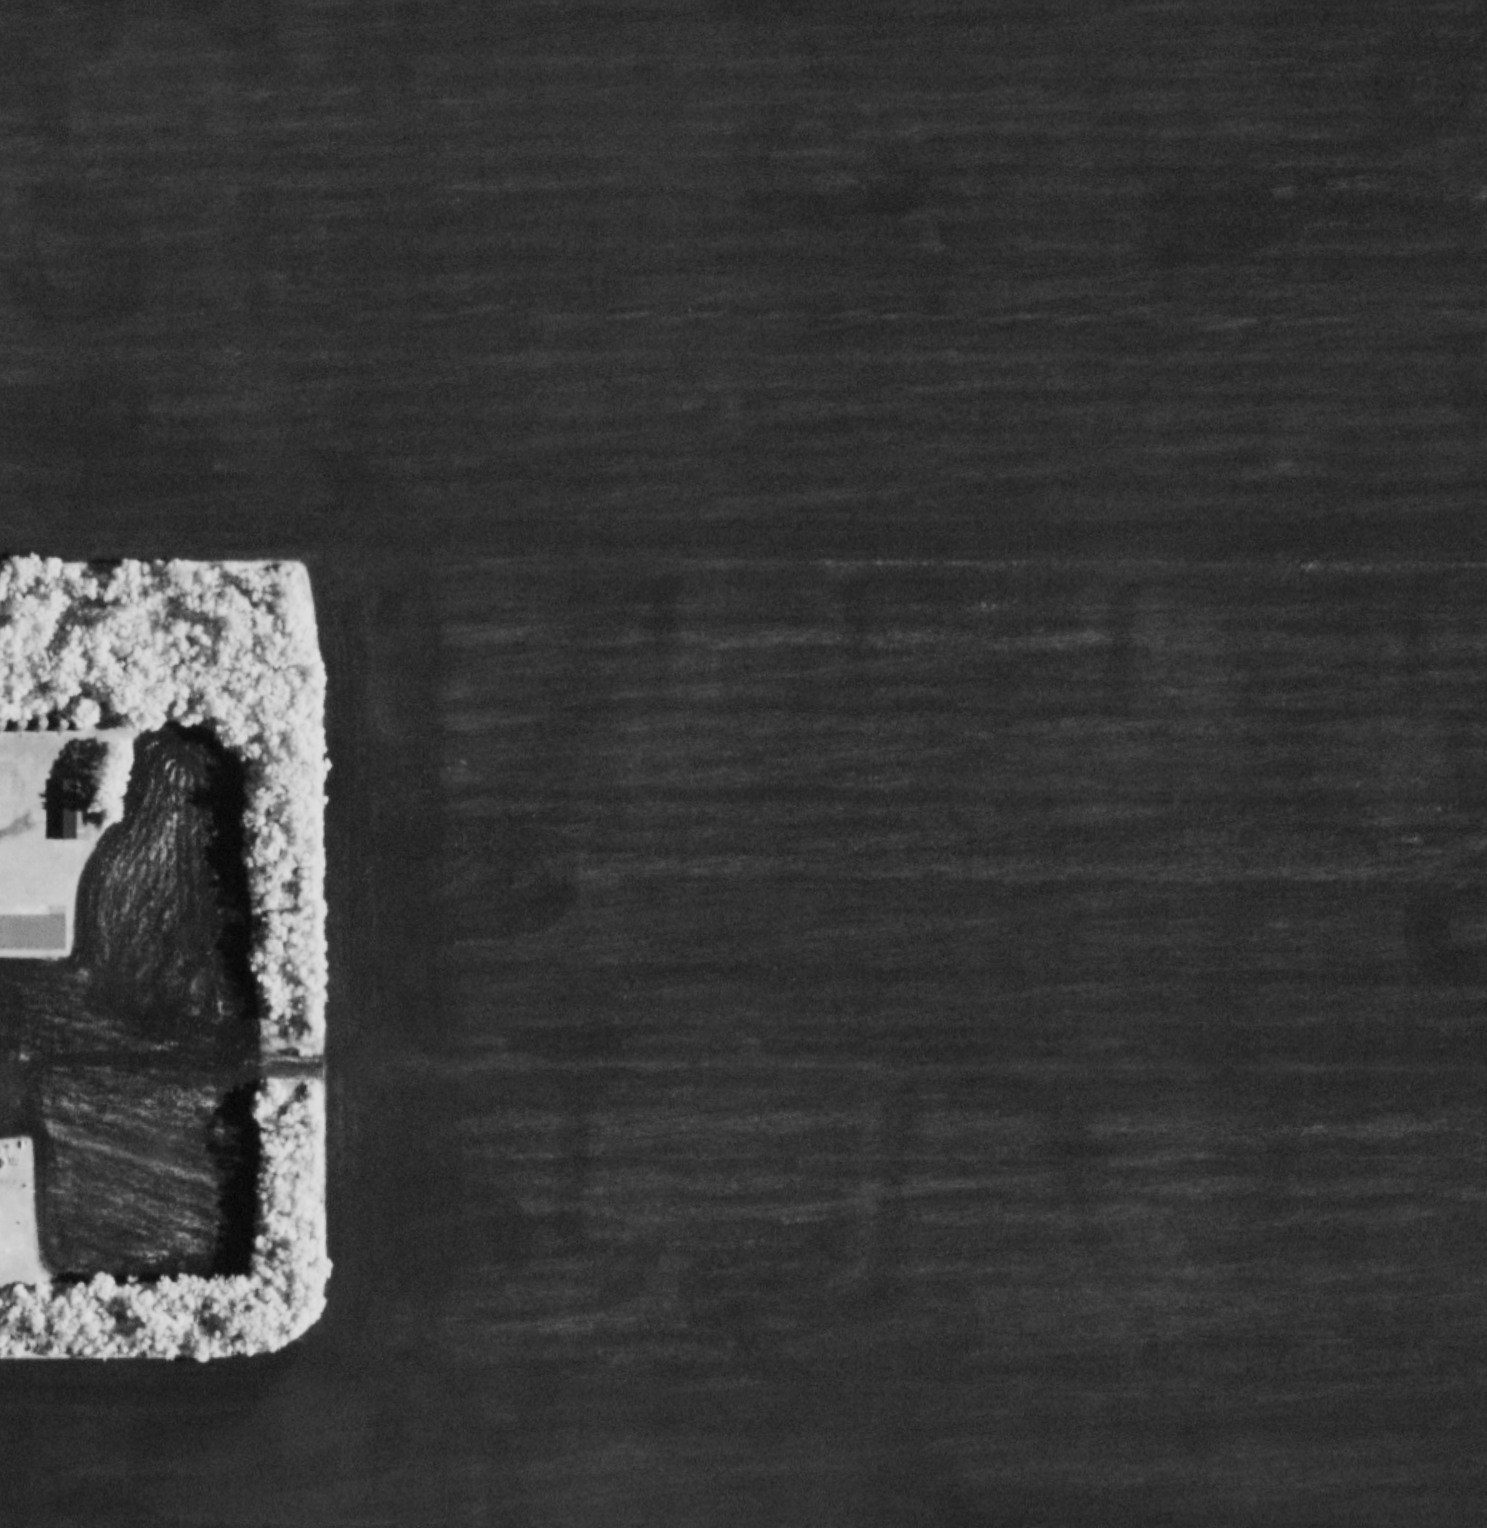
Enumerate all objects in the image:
building: (41, 719)
crop: (818, 739)
road: (25, 820)
crop: (146, 1026)

